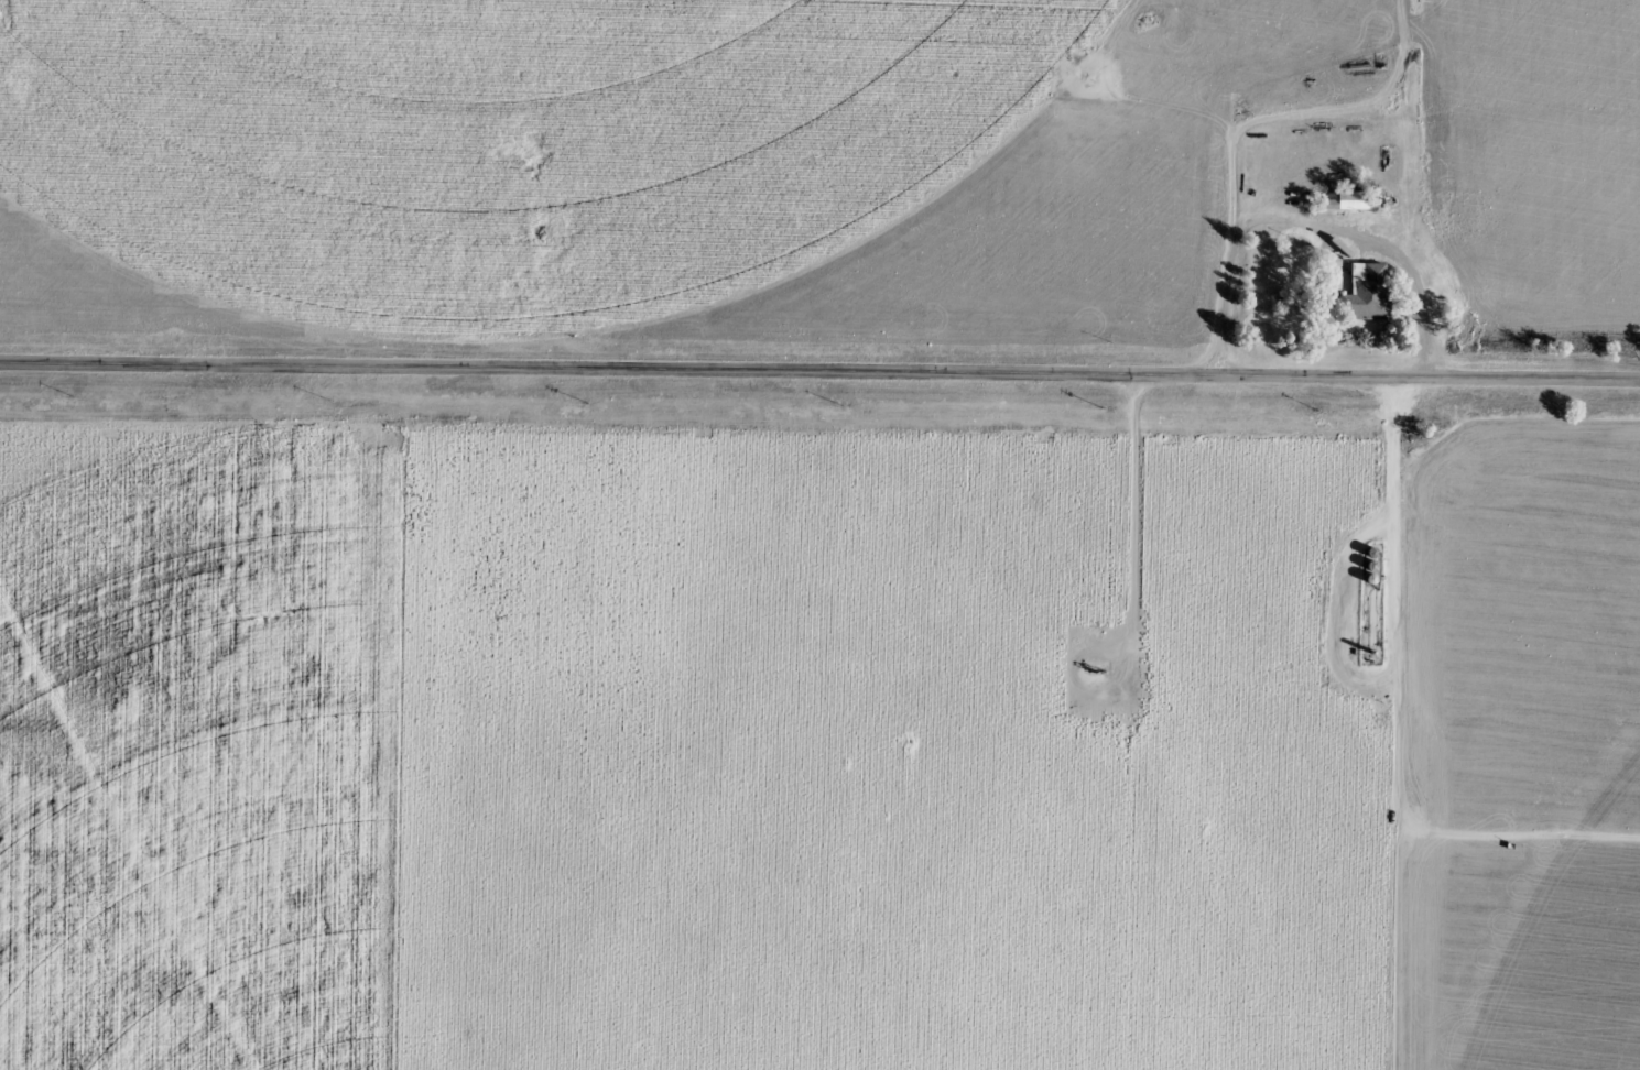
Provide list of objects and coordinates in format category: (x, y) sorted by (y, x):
petroleum well: (1085, 75)
road: (1260, 217)
road: (819, 371)
road: (1419, 535)
petroleum well: (1091, 675)

